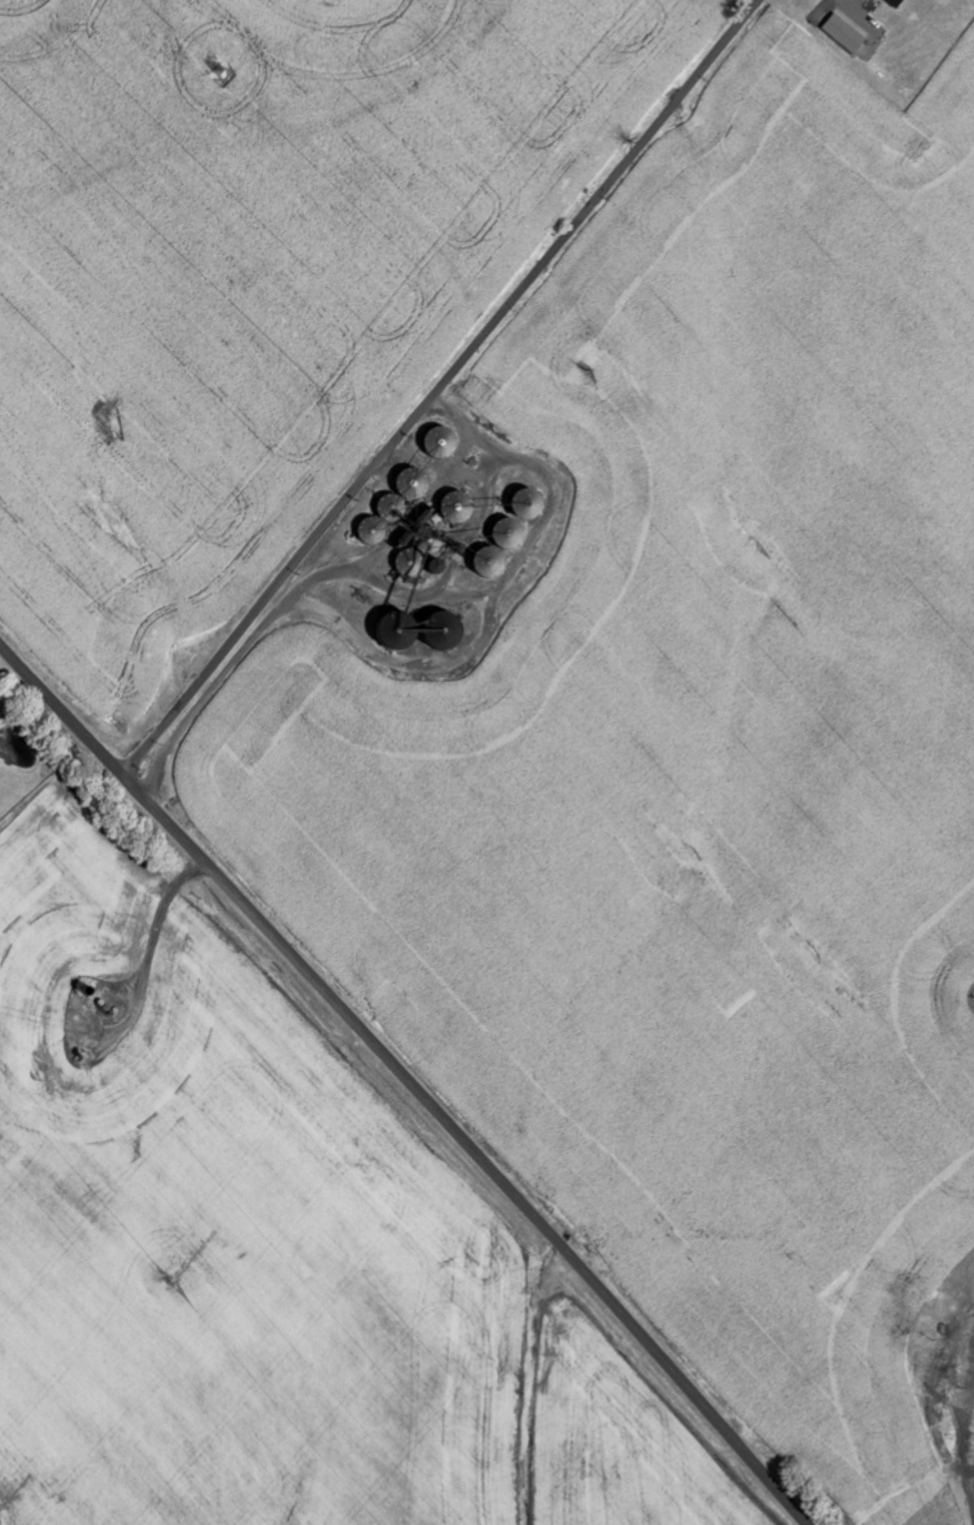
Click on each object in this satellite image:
building: (897, 3)
building: (847, 34)
road: (441, 386)
road: (409, 1080)

